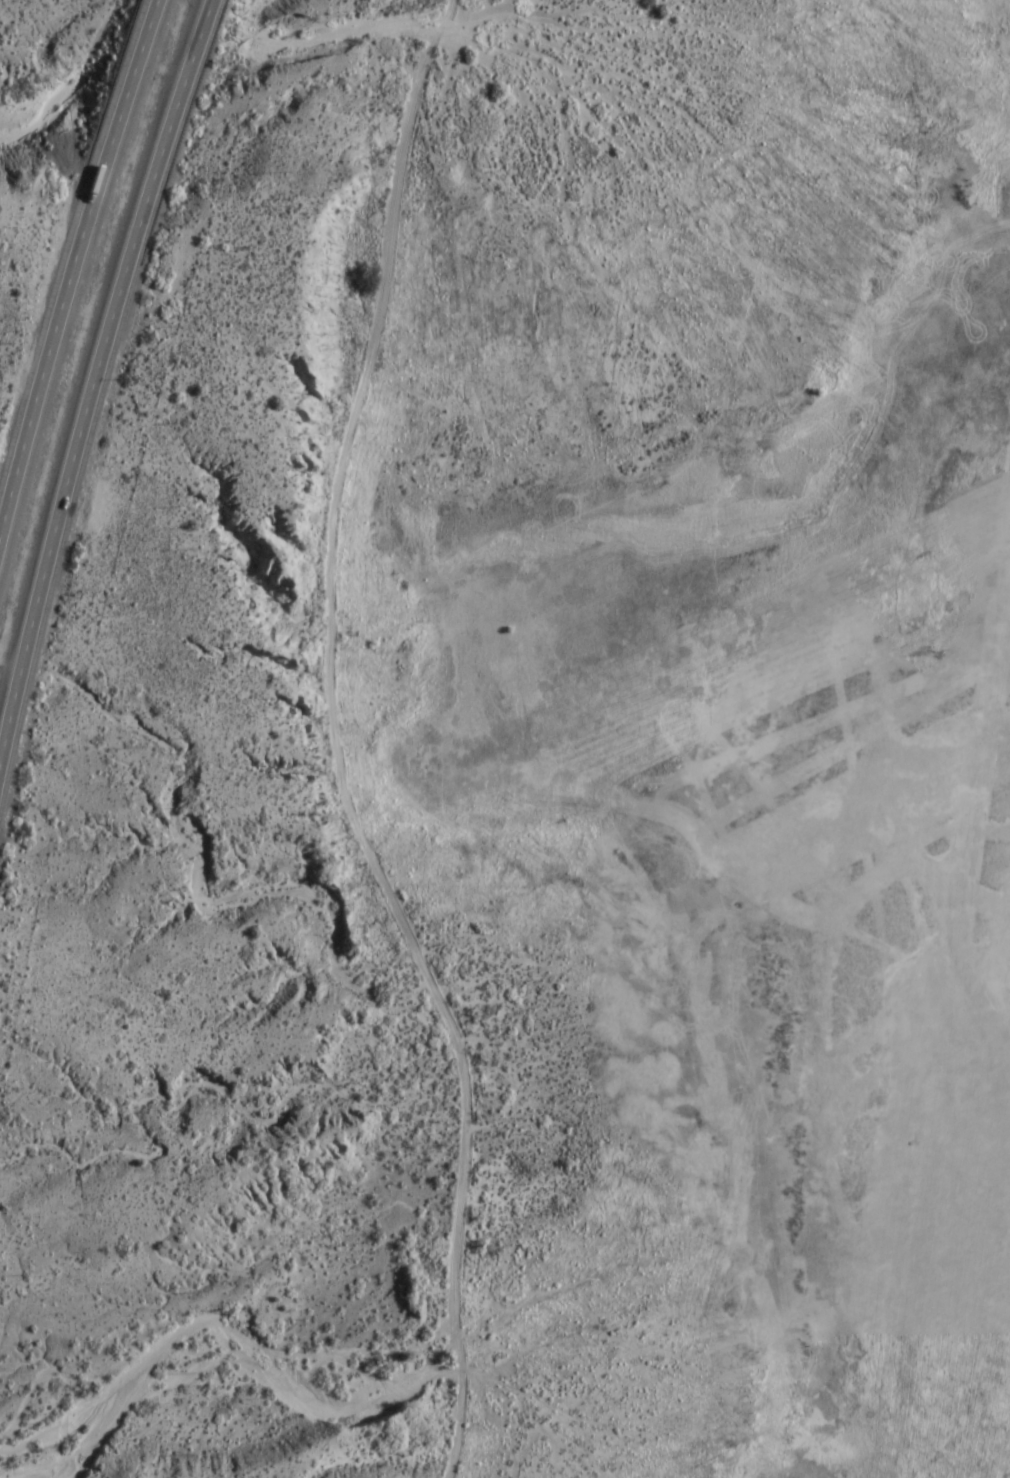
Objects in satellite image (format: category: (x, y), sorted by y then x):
road: (450, 2)
road: (442, 21)
river: (164, 64)
river: (47, 103)
river: (731, 215)
road: (71, 269)
road: (95, 376)
road: (342, 764)
river: (385, 1396)
river: (86, 1451)

